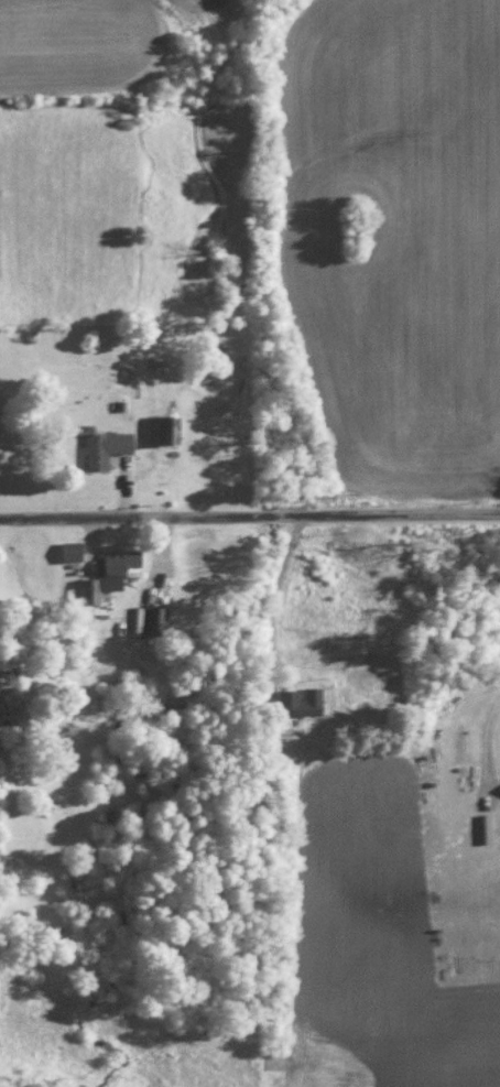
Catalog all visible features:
building: (164, 428)
building: (109, 446)
road: (250, 513)
building: (118, 566)
road: (279, 579)
building: (91, 590)
building: (304, 702)
road: (486, 738)

